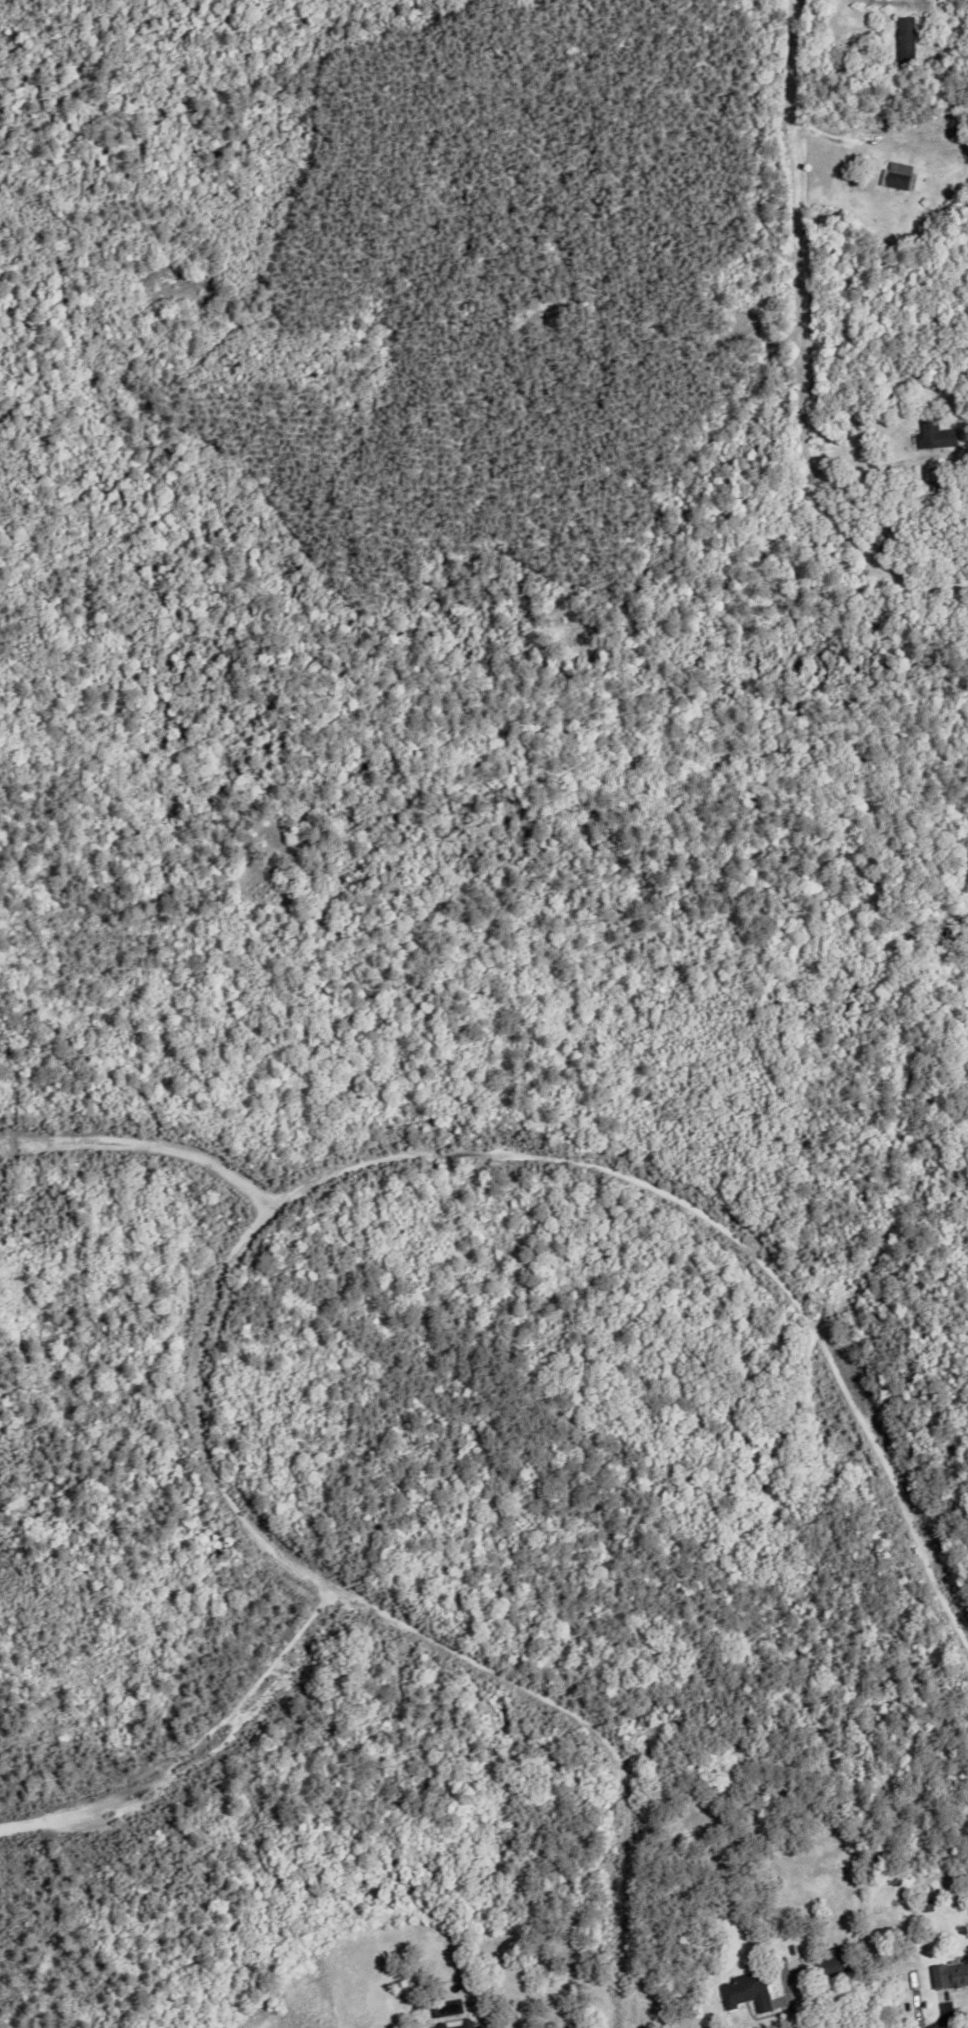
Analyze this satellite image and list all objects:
road: (901, 2)
building: (908, 39)
building: (951, 131)
building: (896, 174)
building: (544, 302)
road: (800, 342)
building: (933, 433)
road: (863, 471)
building: (928, 484)
building: (789, 1947)
building: (949, 1972)
building: (744, 1989)
road: (787, 1996)
building: (455, 2023)

